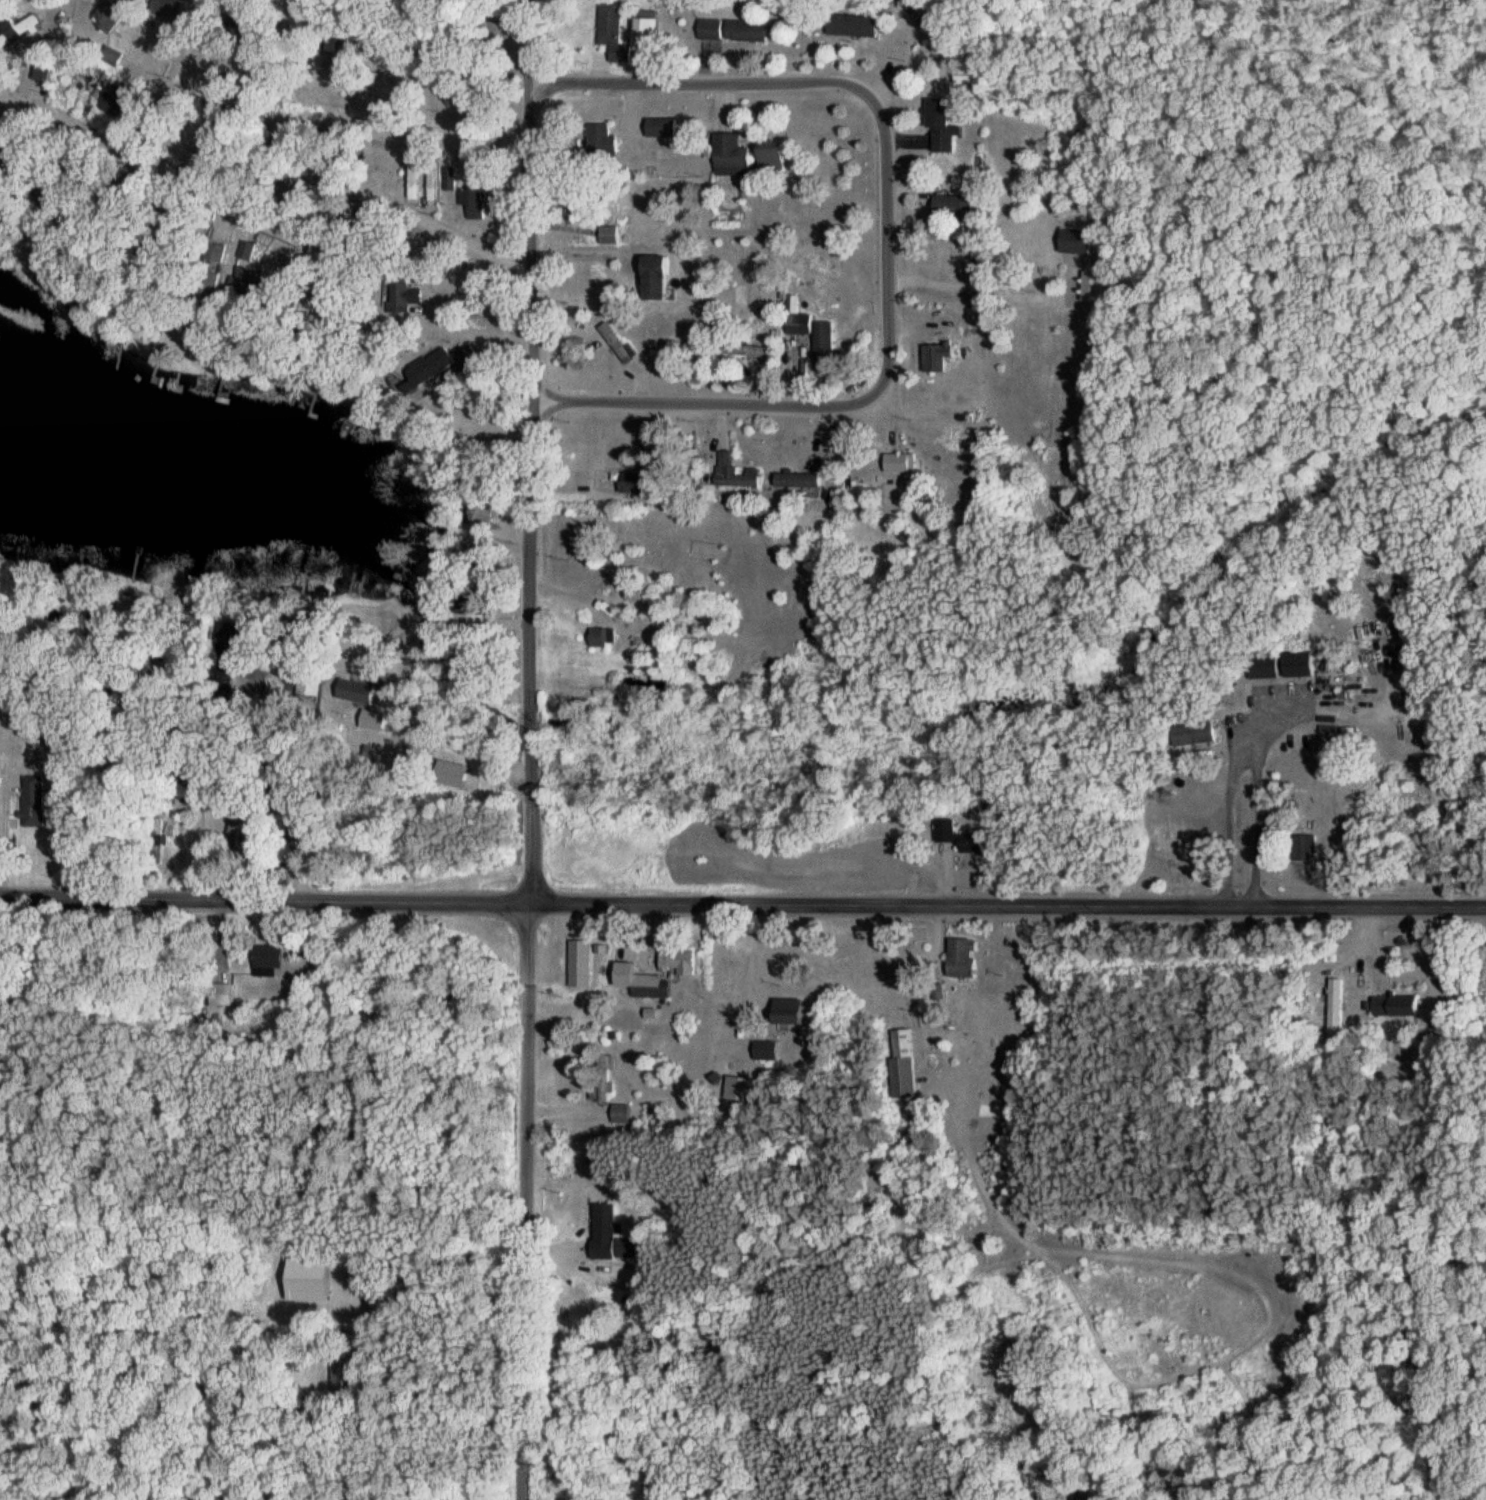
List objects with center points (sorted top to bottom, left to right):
building: (685, 5)
building: (110, 15)
building: (610, 24)
building: (857, 26)
building: (714, 29)
building: (750, 31)
building: (647, 34)
building: (4, 36)
building: (623, 55)
road: (709, 83)
building: (663, 128)
building: (944, 128)
road: (435, 137)
building: (734, 156)
building: (777, 159)
building: (408, 174)
building: (958, 205)
road: (272, 226)
building: (611, 236)
building: (1077, 241)
road: (580, 250)
building: (659, 279)
building: (1094, 282)
road: (972, 287)
road: (388, 324)
building: (817, 339)
building: (618, 344)
building: (938, 357)
building: (445, 366)
road: (862, 392)
road: (485, 423)
road: (530, 451)
building: (902, 464)
building: (738, 478)
building: (799, 481)
building: (632, 484)
building: (479, 514)
building: (602, 639)
building: (1285, 667)
building: (308, 684)
building: (365, 694)
building: (1201, 735)
road: (464, 752)
road: (30, 762)
road: (1252, 793)
building: (34, 802)
road: (67, 821)
building: (234, 822)
road: (1223, 829)
building: (963, 838)
road: (193, 842)
road: (742, 902)
road: (1366, 947)
building: (967, 958)
building: (683, 959)
building: (270, 960)
building: (583, 963)
road: (745, 964)
building: (655, 987)
building: (1335, 1000)
building: (1397, 1005)
building: (795, 1011)
building: (765, 1050)
building: (737, 1088)
building: (620, 1114)
road: (530, 1201)
building: (611, 1236)
building: (337, 1381)

